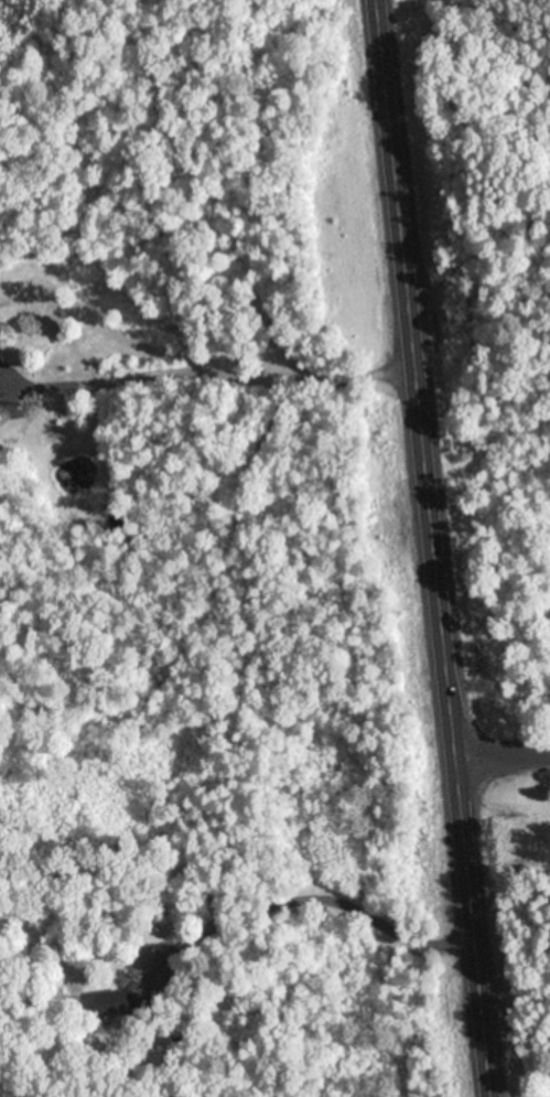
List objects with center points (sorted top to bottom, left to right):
building: (2, 363)
road: (433, 548)
road: (503, 757)
building: (157, 933)
building: (118, 1000)

